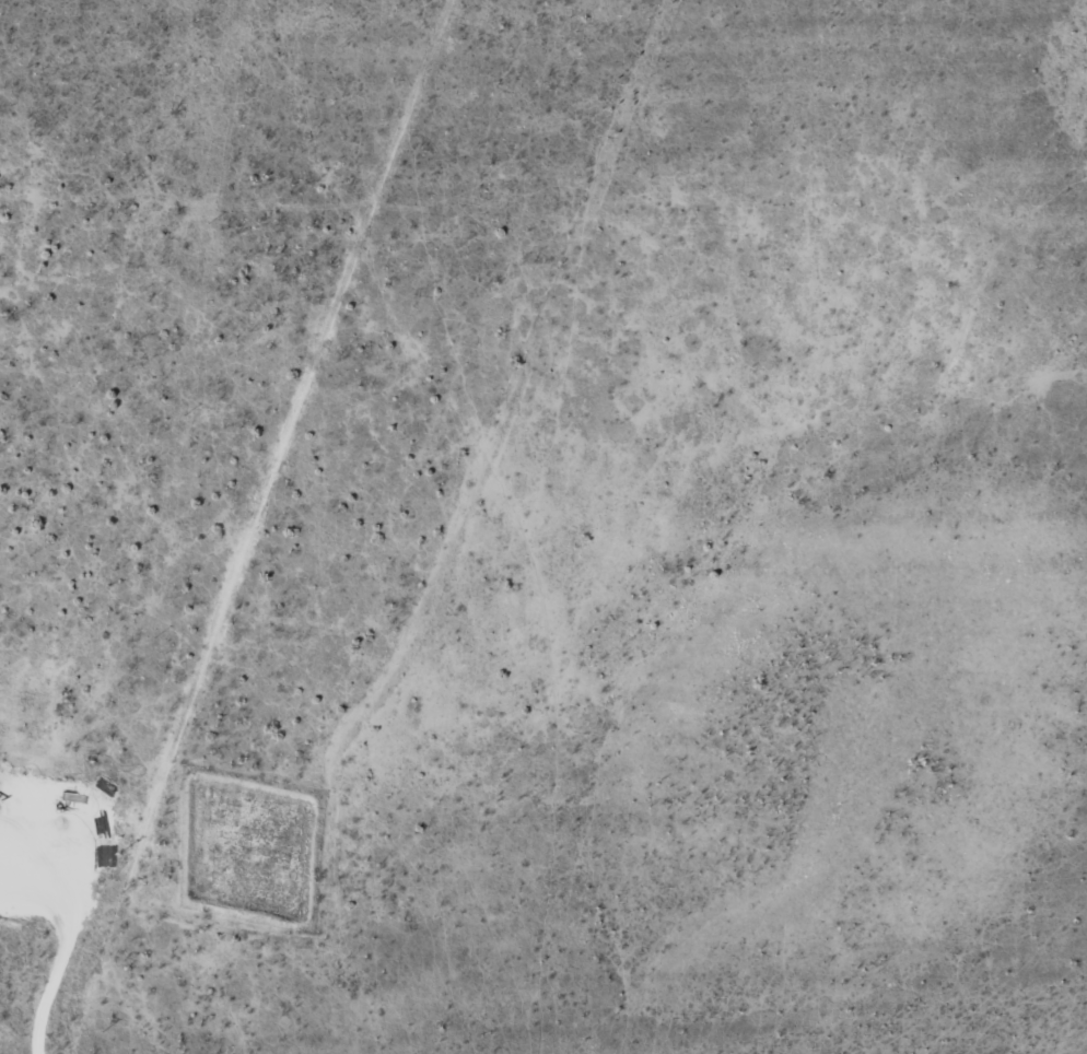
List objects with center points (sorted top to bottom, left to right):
building: (74, 798)
road: (26, 950)

